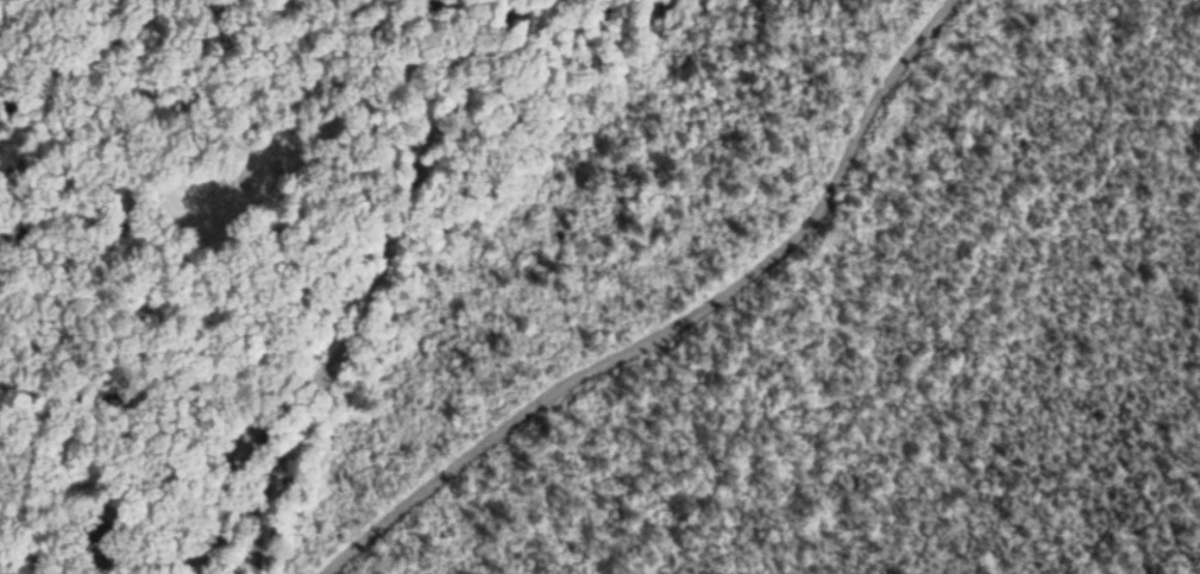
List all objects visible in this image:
road: (24, 78)
road: (139, 181)
road: (366, 294)
road: (681, 320)

